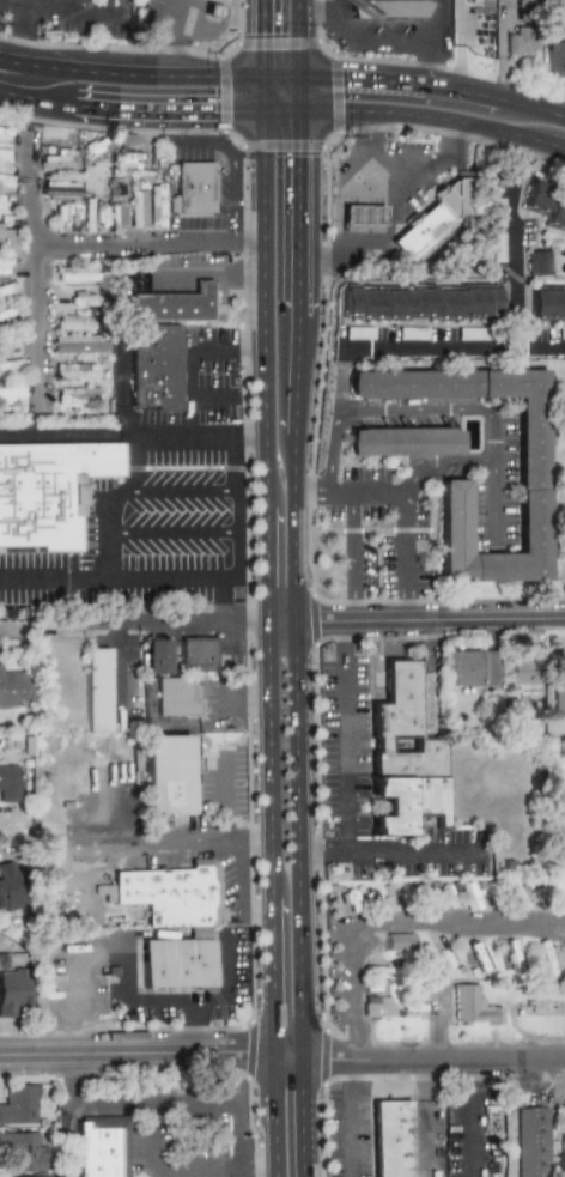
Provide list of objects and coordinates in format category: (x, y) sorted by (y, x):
building: (518, 4)
building: (397, 8)
road: (63, 10)
building: (211, 10)
road: (315, 10)
road: (14, 23)
road: (336, 24)
road: (159, 37)
road: (297, 37)
building: (564, 37)
road: (387, 41)
building: (520, 41)
road: (435, 42)
road: (261, 55)
building: (555, 57)
road: (147, 74)
road: (432, 85)
road: (129, 109)
road: (415, 114)
building: (2, 134)
building: (61, 140)
road: (184, 144)
building: (2, 156)
road: (297, 158)
building: (59, 160)
road: (263, 175)
road: (353, 175)
road: (378, 180)
building: (5, 181)
building: (61, 188)
building: (192, 188)
road: (230, 192)
building: (533, 195)
building: (4, 202)
building: (154, 205)
road: (385, 206)
building: (136, 210)
building: (359, 214)
building: (433, 216)
building: (120, 217)
building: (553, 219)
road: (504, 238)
road: (152, 243)
building: (7, 244)
building: (492, 247)
building: (534, 262)
building: (79, 273)
road: (207, 274)
road: (297, 278)
road: (40, 285)
building: (6, 291)
building: (83, 301)
building: (415, 302)
building: (545, 302)
building: (171, 304)
building: (6, 313)
building: (73, 322)
building: (8, 341)
building: (78, 344)
road: (248, 344)
road: (213, 345)
road: (450, 345)
building: (10, 366)
building: (153, 366)
building: (75, 370)
road: (294, 374)
road: (195, 390)
building: (11, 394)
building: (77, 395)
road: (415, 407)
road: (247, 433)
road: (115, 436)
road: (493, 436)
building: (529, 438)
building: (401, 441)
road: (332, 449)
road: (135, 463)
road: (458, 465)
road: (415, 478)
building: (47, 490)
road: (308, 491)
road: (365, 491)
road: (165, 492)
road: (492, 506)
road: (232, 508)
road: (166, 534)
road: (99, 538)
road: (351, 554)
road: (406, 554)
road: (117, 583)
road: (429, 617)
road: (178, 618)
road: (279, 618)
road: (344, 639)
road: (266, 645)
building: (196, 654)
building: (156, 655)
building: (464, 667)
building: (520, 671)
building: (557, 682)
building: (11, 688)
building: (96, 688)
building: (174, 697)
road: (120, 712)
road: (296, 741)
building: (401, 754)
road: (342, 756)
building: (165, 775)
building: (8, 783)
road: (223, 799)
road: (256, 845)
road: (195, 847)
road: (320, 850)
road: (408, 851)
road: (243, 881)
building: (8, 886)
building: (171, 894)
road: (393, 917)
building: (396, 941)
building: (475, 955)
building: (548, 960)
building: (176, 964)
road: (225, 966)
road: (121, 977)
building: (12, 990)
road: (172, 997)
building: (376, 1007)
building: (472, 1007)
road: (436, 1019)
road: (182, 1025)
road: (282, 1050)
road: (468, 1072)
road: (350, 1074)
road: (157, 1100)
building: (18, 1103)
road: (302, 1112)
road: (72, 1114)
road: (274, 1114)
building: (564, 1121)
road: (470, 1132)
road: (346, 1134)
road: (138, 1136)
building: (390, 1137)
road: (242, 1139)
building: (531, 1141)
building: (101, 1146)
building: (22, 1151)
road: (259, 1163)
road: (189, 1172)
building: (24, 1176)

